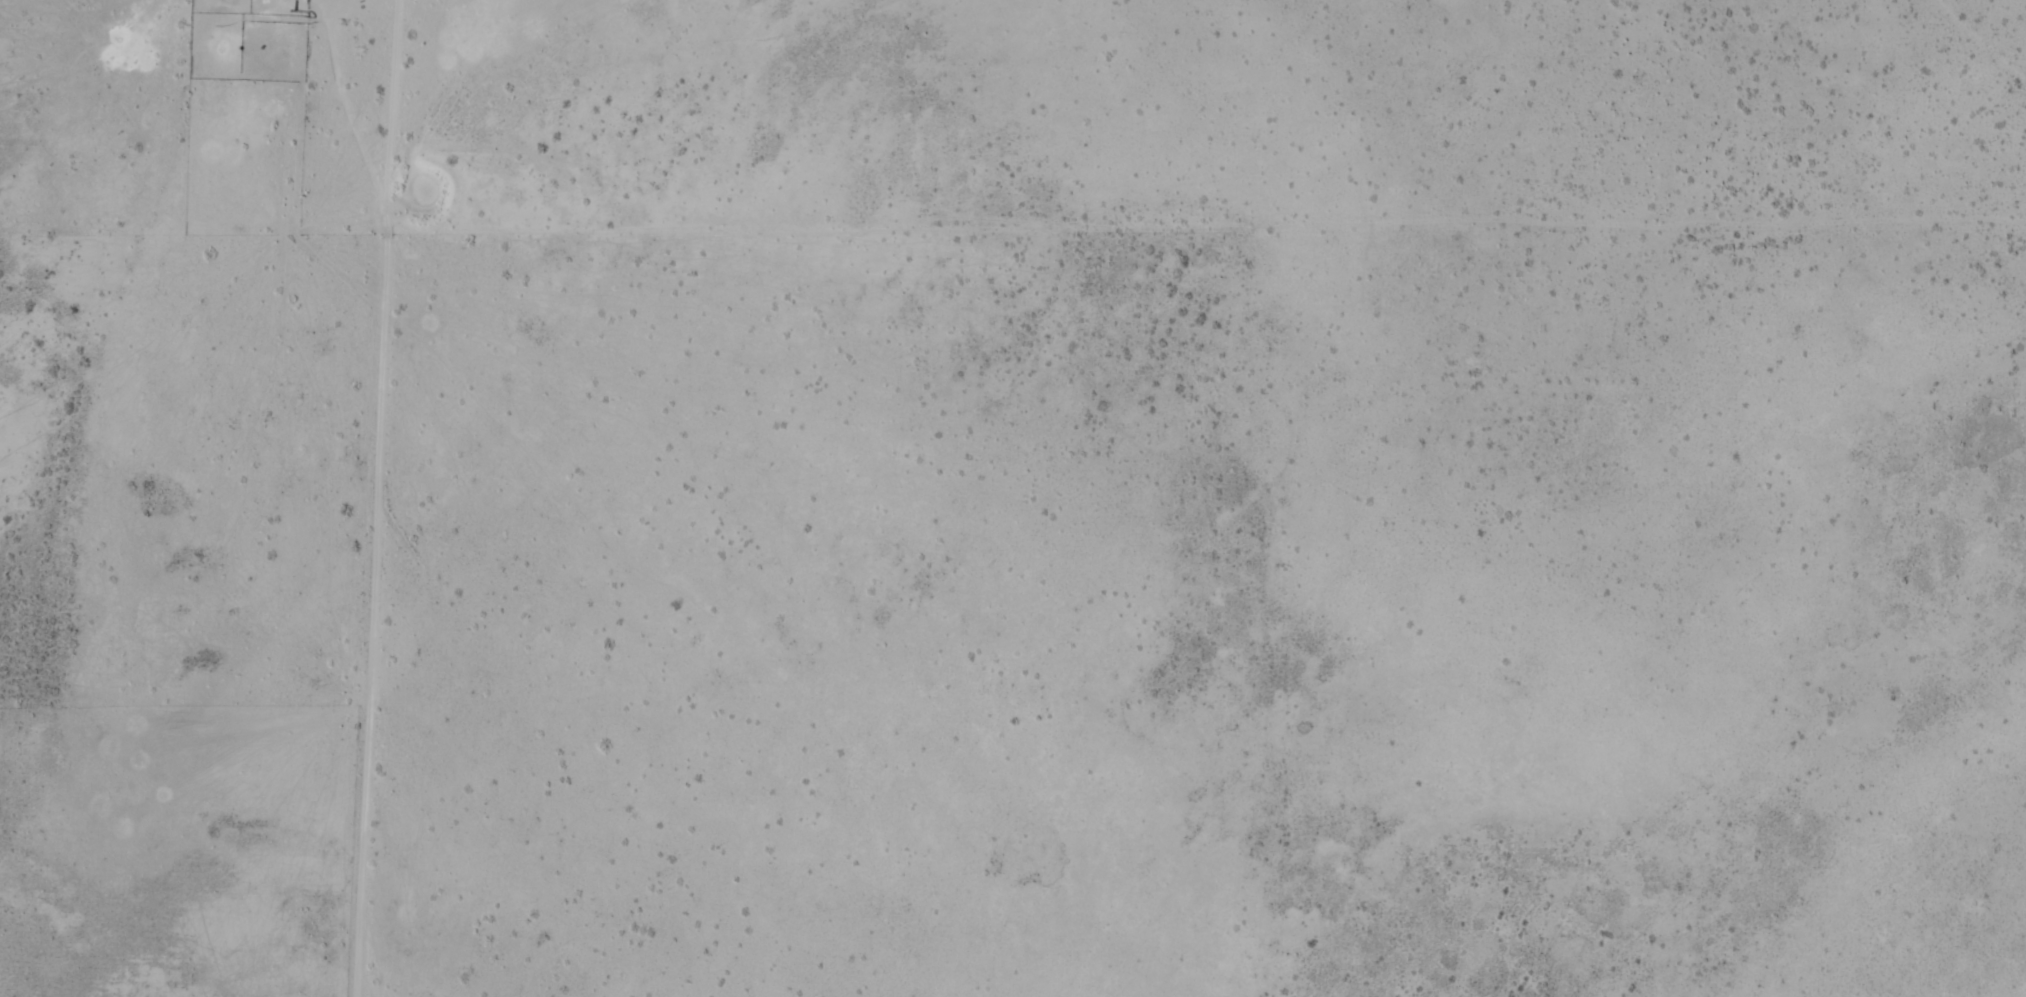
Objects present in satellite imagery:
road: (1865, 160)

